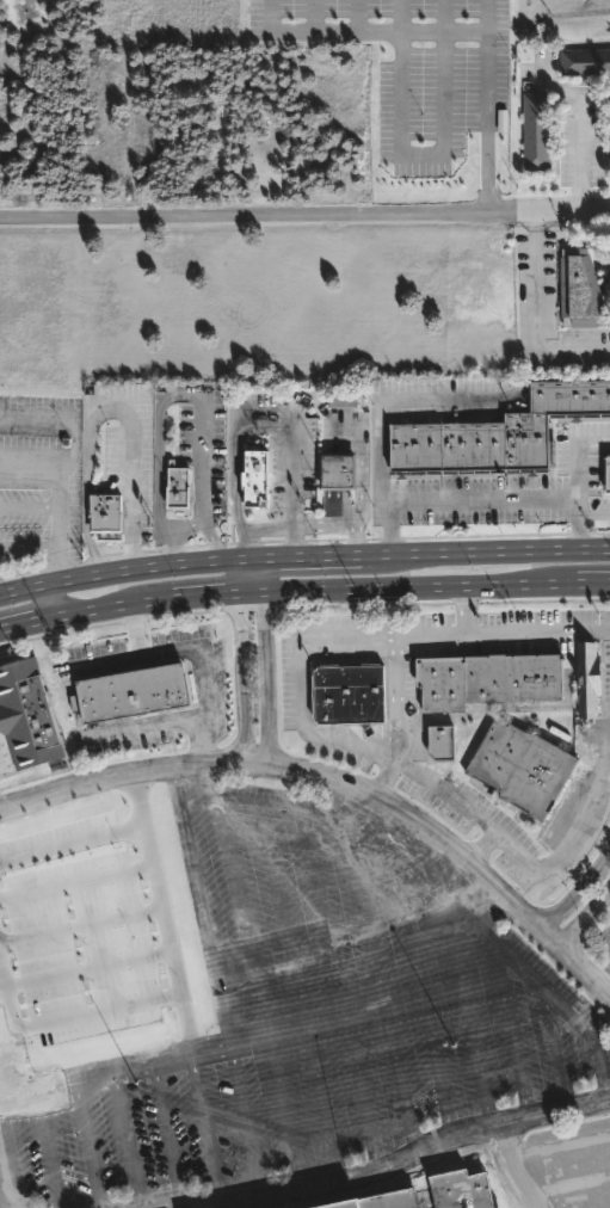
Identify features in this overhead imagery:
road: (314, 16)
road: (357, 17)
road: (401, 17)
road: (443, 17)
road: (363, 33)
building: (585, 61)
road: (485, 106)
road: (578, 129)
building: (537, 130)
road: (421, 154)
road: (304, 215)
building: (581, 290)
road: (534, 316)
road: (171, 395)
building: (344, 400)
road: (32, 418)
building: (73, 429)
building: (498, 431)
parking lot: (44, 456)
road: (292, 468)
building: (338, 469)
building: (255, 475)
building: (609, 475)
road: (85, 479)
building: (179, 485)
road: (57, 486)
road: (578, 486)
road: (359, 487)
road: (130, 489)
road: (233, 494)
road: (457, 500)
building: (106, 512)
road: (325, 520)
road: (267, 525)
road: (205, 530)
road: (29, 550)
road: (174, 555)
road: (488, 556)
road: (315, 563)
road: (252, 566)
road: (184, 568)
road: (56, 569)
road: (115, 575)
road: (78, 581)
road: (239, 581)
road: (593, 581)
road: (407, 587)
road: (27, 592)
road: (207, 597)
road: (152, 600)
road: (55, 603)
road: (462, 609)
road: (92, 610)
road: (27, 624)
road: (536, 630)
road: (430, 634)
road: (269, 662)
road: (100, 667)
road: (242, 678)
building: (489, 678)
building: (589, 678)
road: (302, 682)
road: (203, 685)
building: (133, 690)
road: (398, 691)
building: (350, 694)
building: (27, 715)
building: (443, 741)
road: (201, 744)
road: (606, 751)
building: (524, 765)
road: (387, 775)
road: (335, 785)
road: (444, 800)
road: (0, 814)
road: (79, 849)
road: (552, 861)
road: (82, 888)
road: (578, 893)
road: (173, 908)
road: (584, 917)
road: (91, 933)
road: (100, 978)
road: (281, 1018)
road: (51, 1027)
building: (387, 1201)

